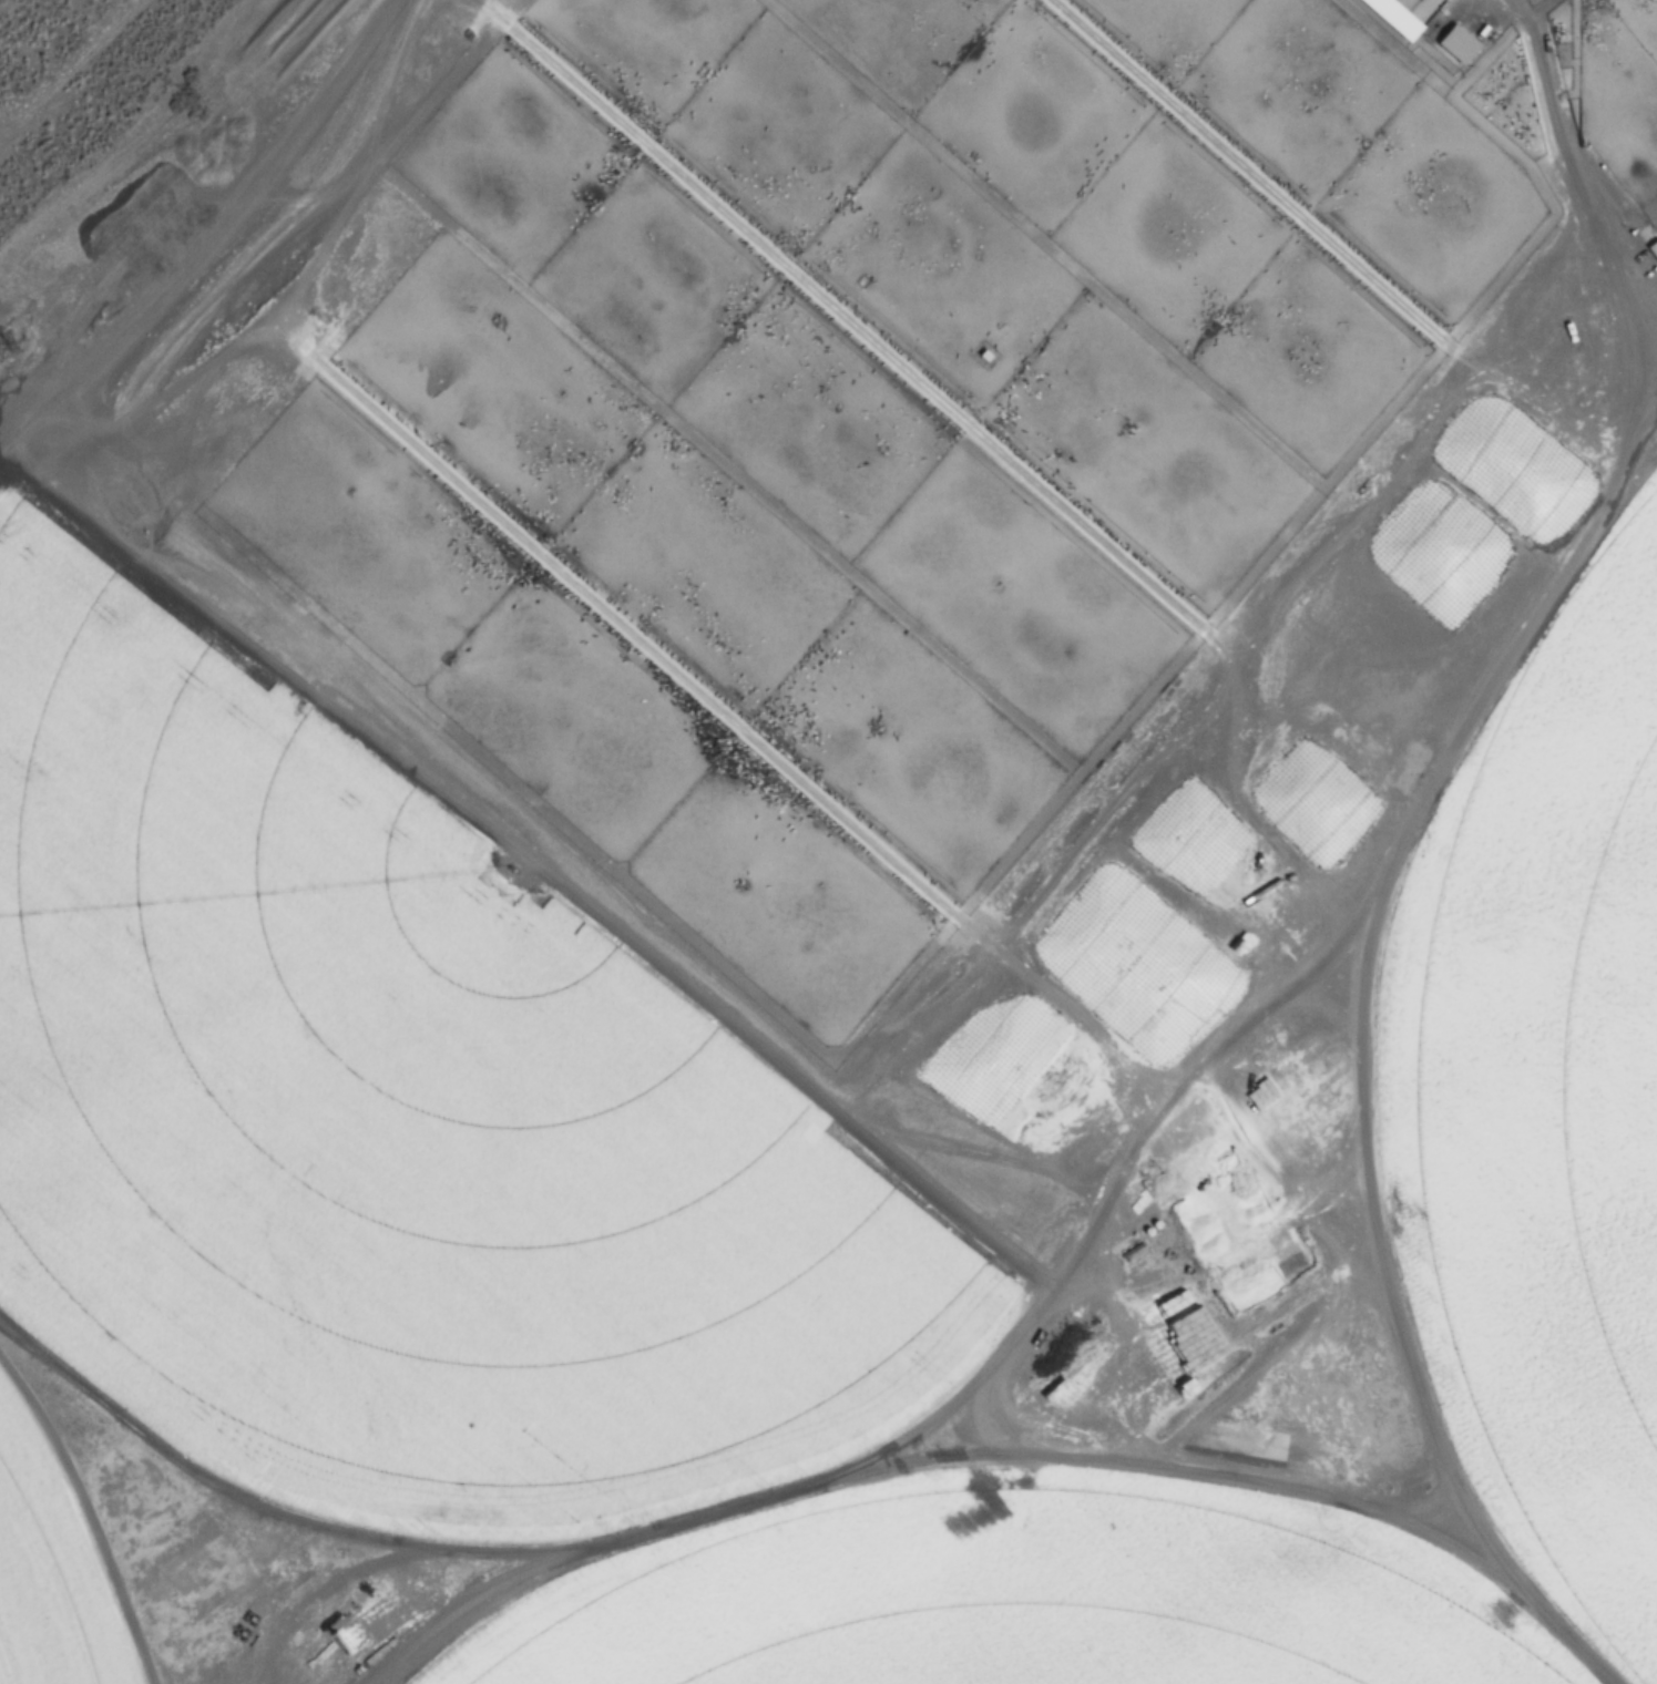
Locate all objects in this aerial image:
building: (1653, 250)
power tower: (9, 350)

